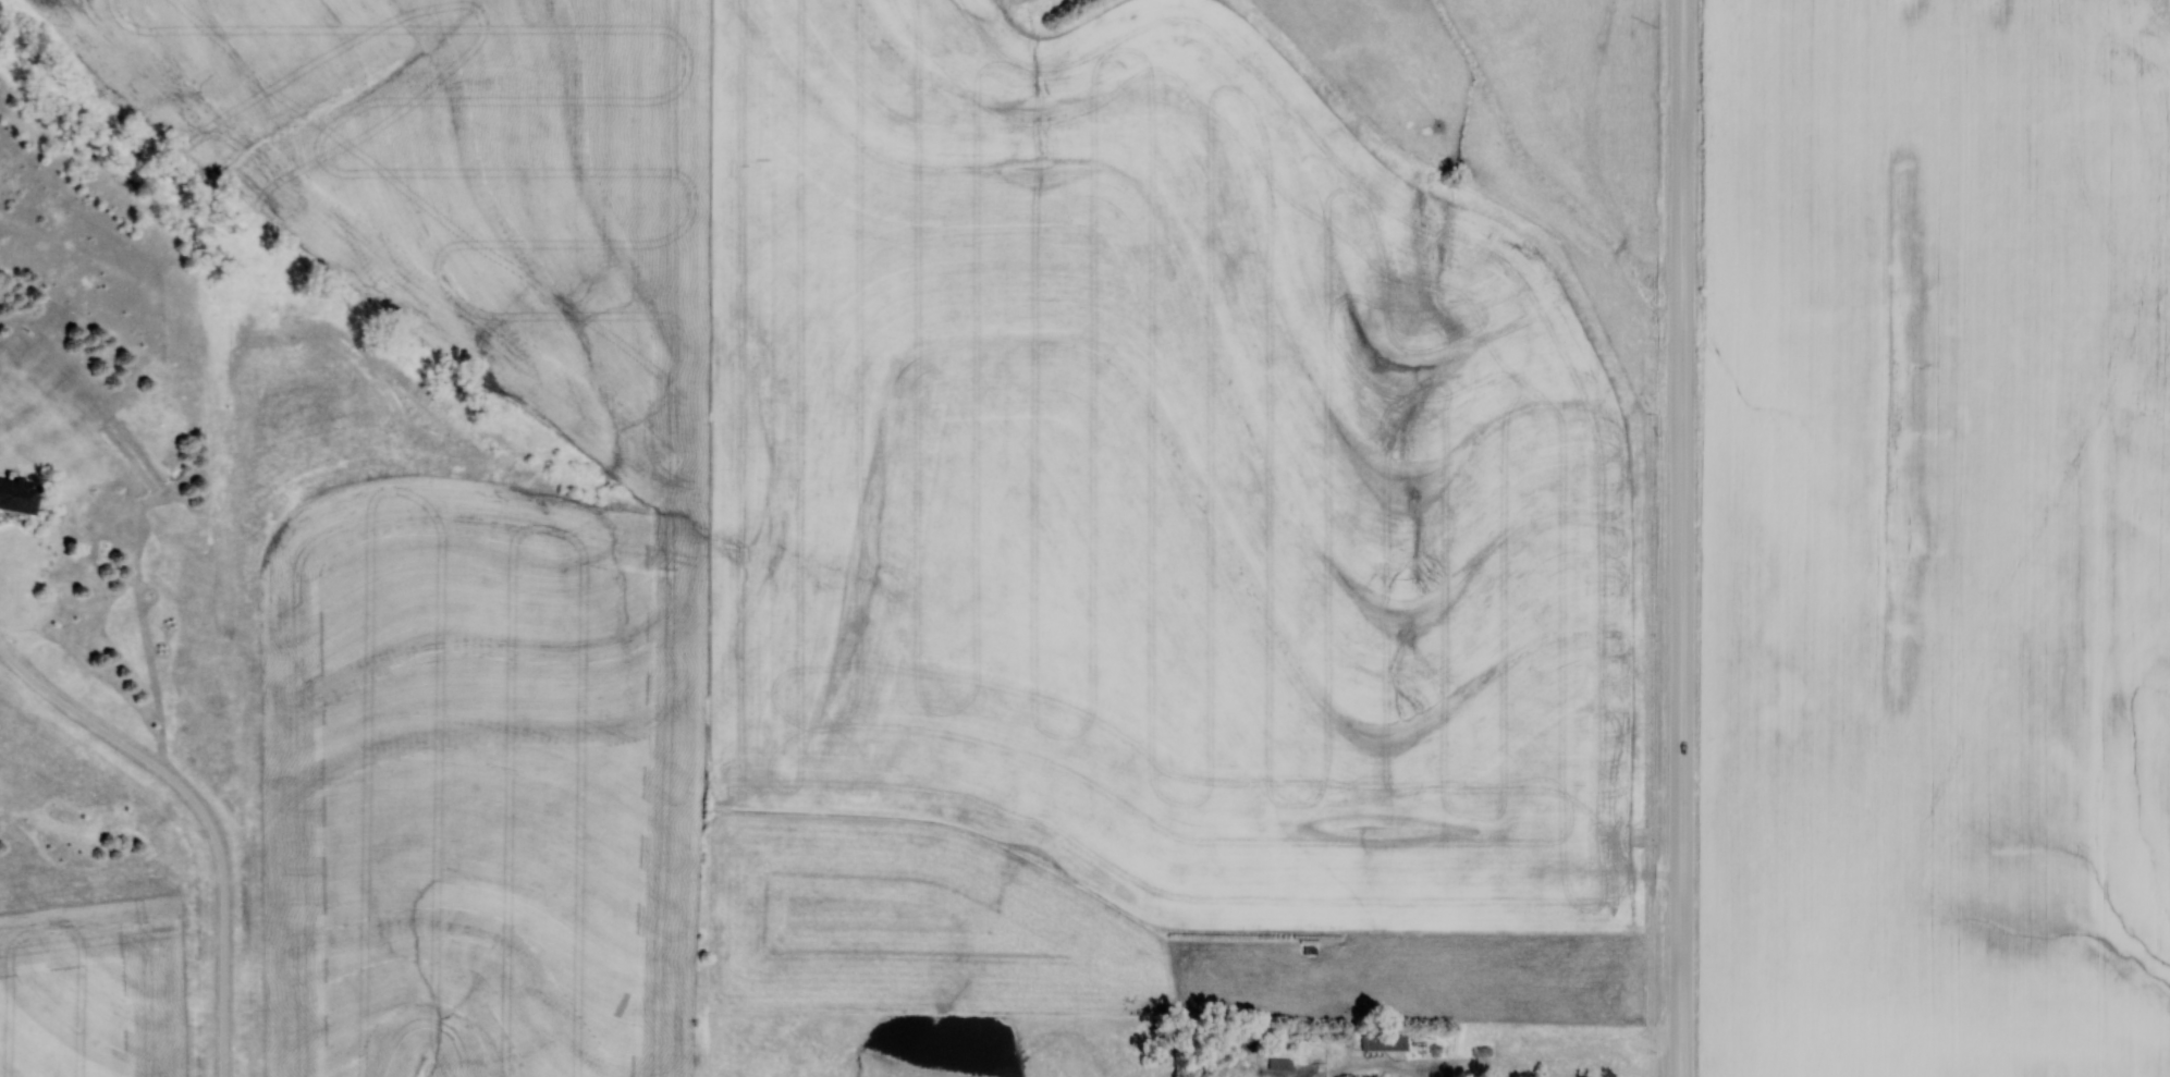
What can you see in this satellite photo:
building: (20, 494)
road: (1681, 538)
building: (1380, 1042)

